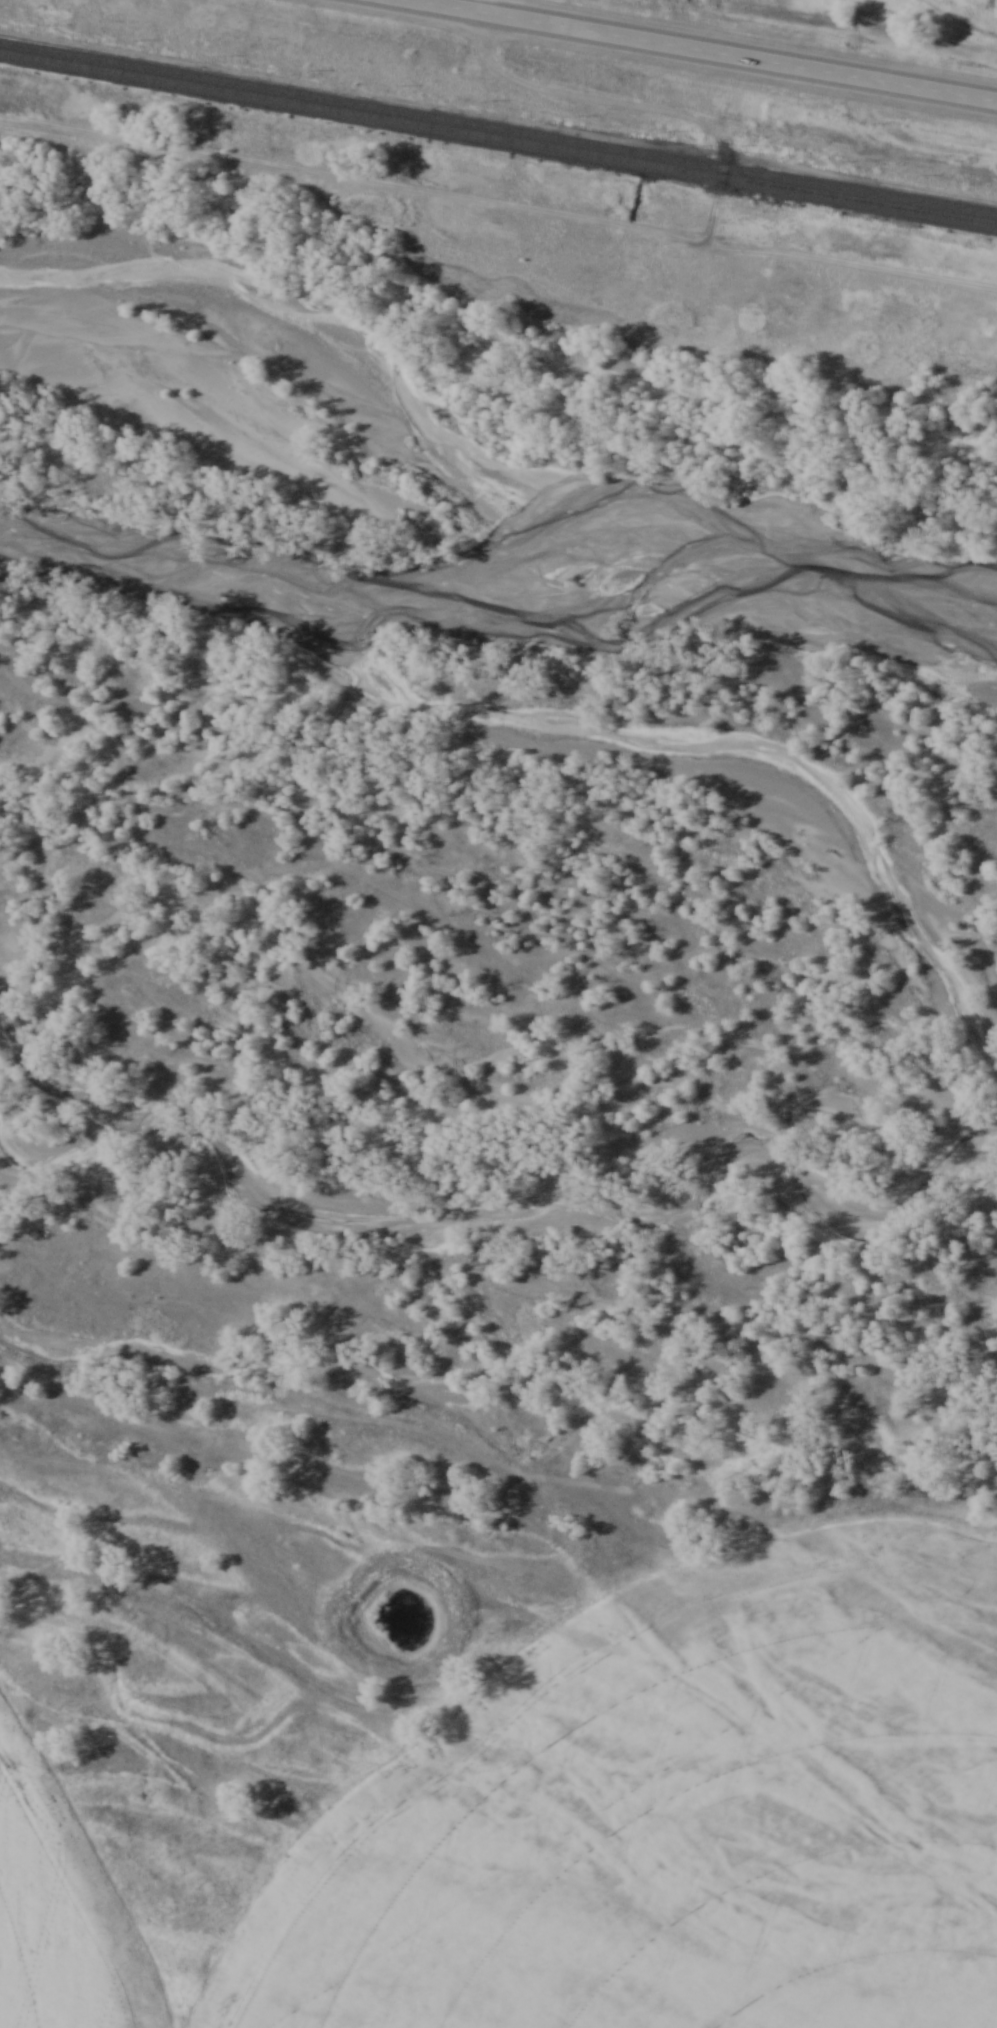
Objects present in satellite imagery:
road: (706, 50)
railway: (498, 129)
railway: (498, 140)
river: (509, 552)

